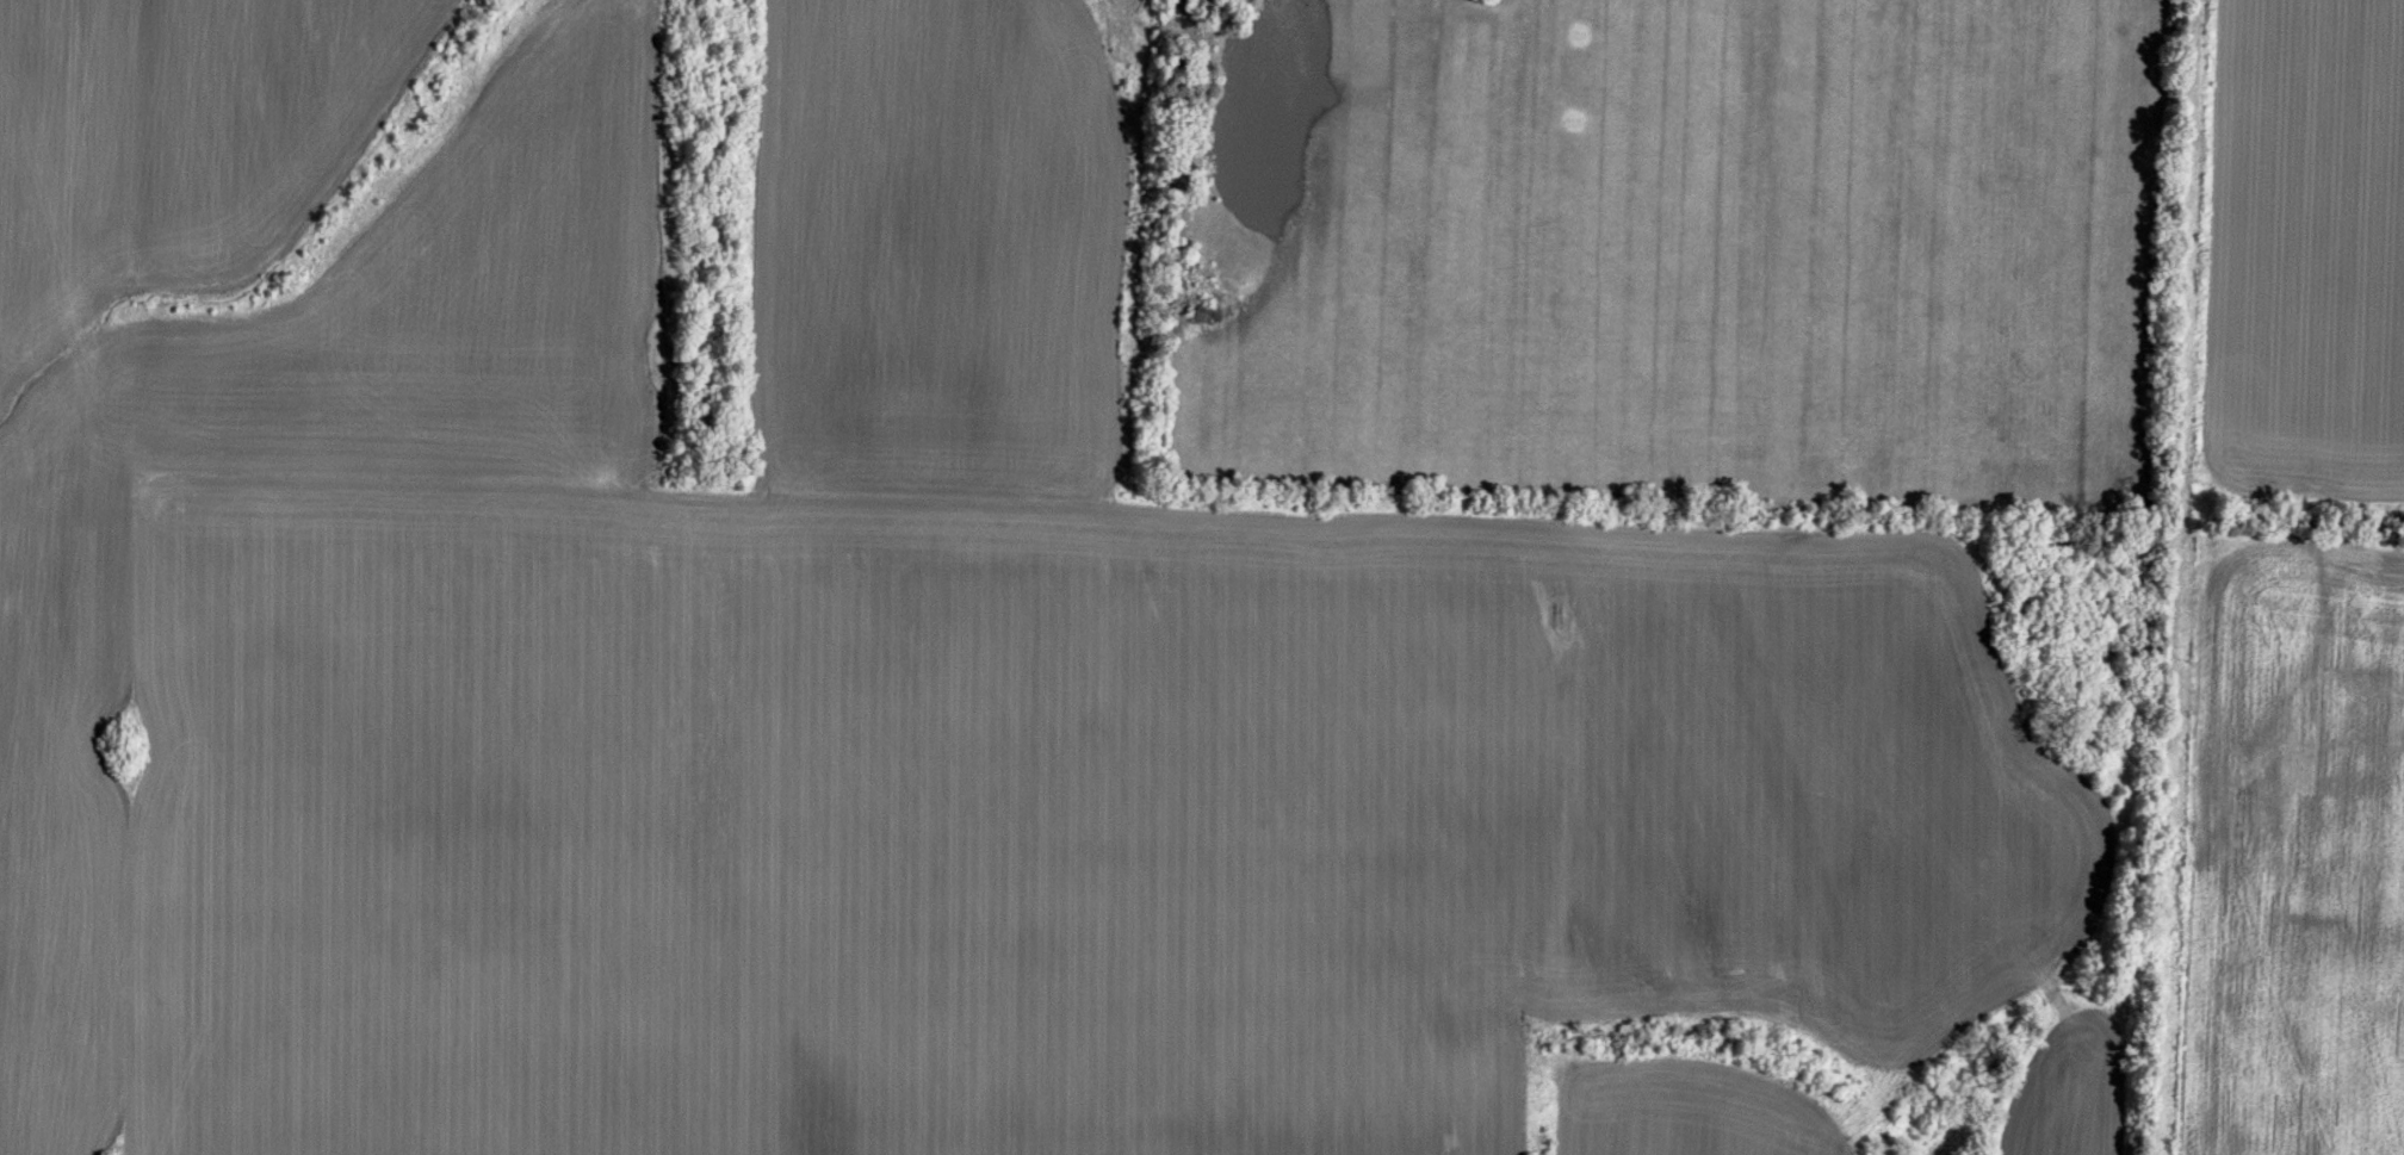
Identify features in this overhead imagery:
road: (2193, 352)

